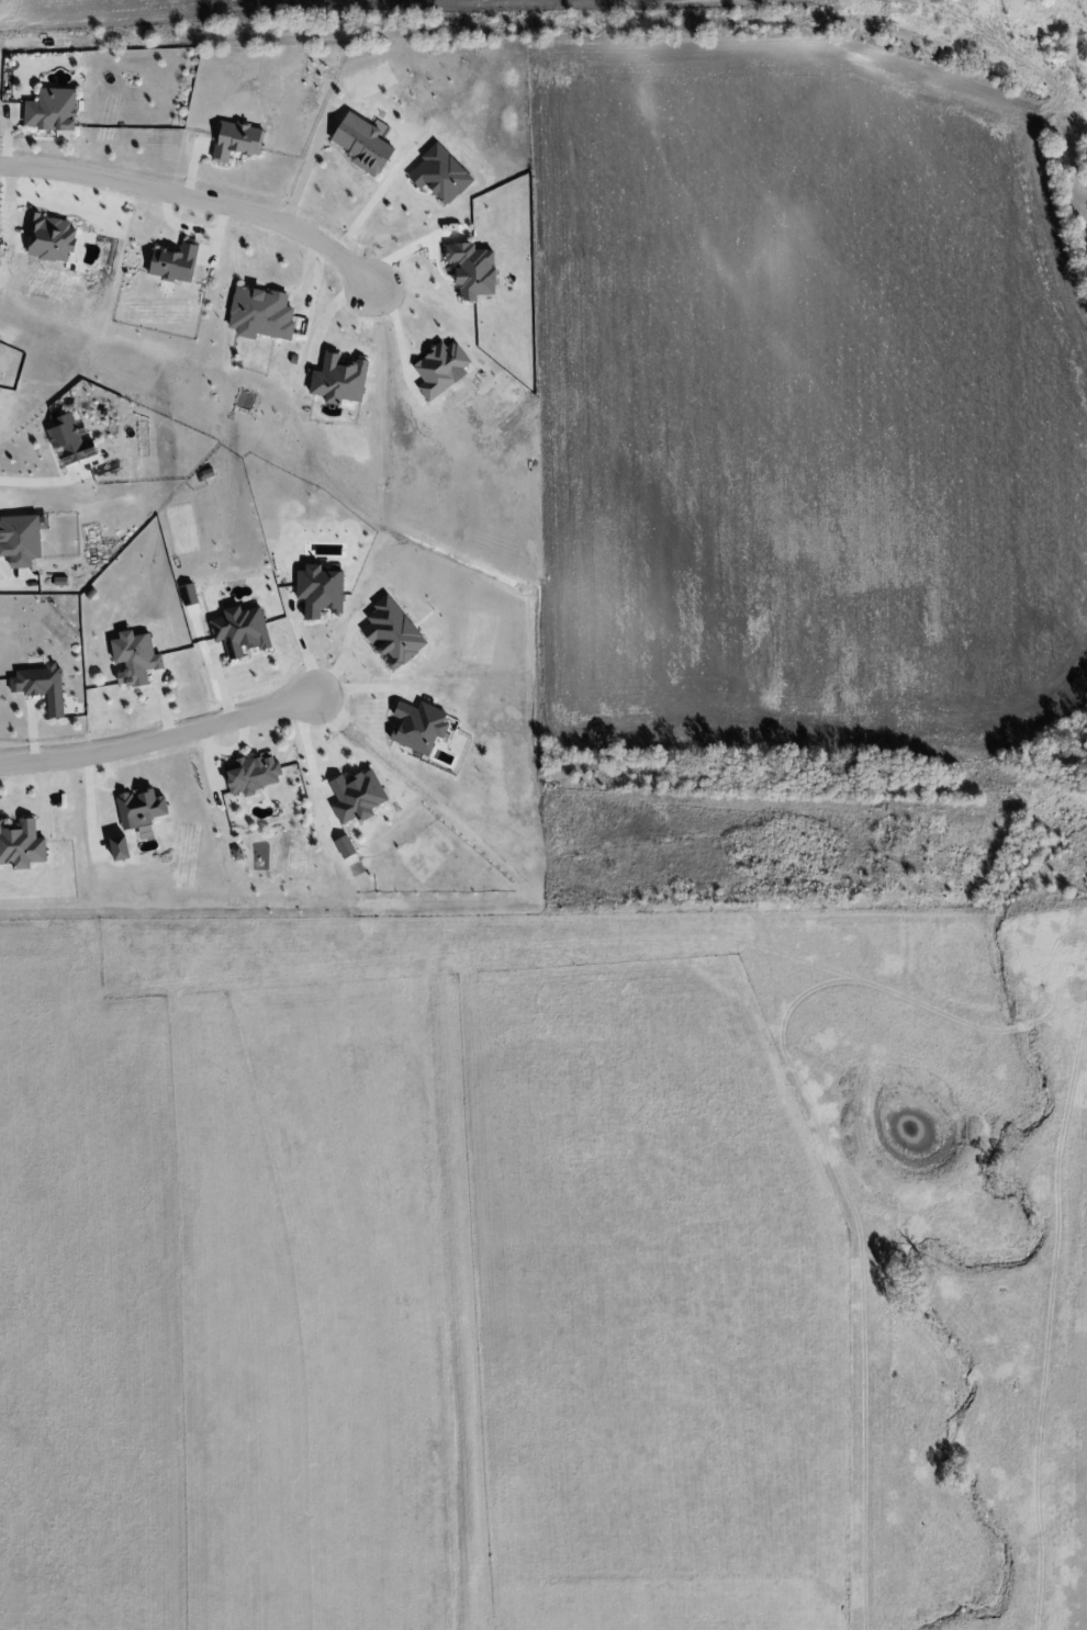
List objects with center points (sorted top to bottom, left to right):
building: (53, 111)
building: (237, 139)
building: (362, 144)
building: (440, 175)
road: (200, 199)
road: (367, 210)
building: (51, 237)
building: (175, 262)
building: (472, 269)
building: (260, 313)
building: (441, 369)
building: (339, 379)
building: (70, 439)
road: (30, 481)
building: (20, 539)
building: (321, 589)
building: (240, 630)
building: (393, 632)
building: (135, 657)
building: (41, 685)
building: (419, 726)
road: (159, 740)
building: (254, 774)
building: (357, 796)
building: (141, 808)
building: (21, 844)
building: (345, 846)
building: (120, 847)

